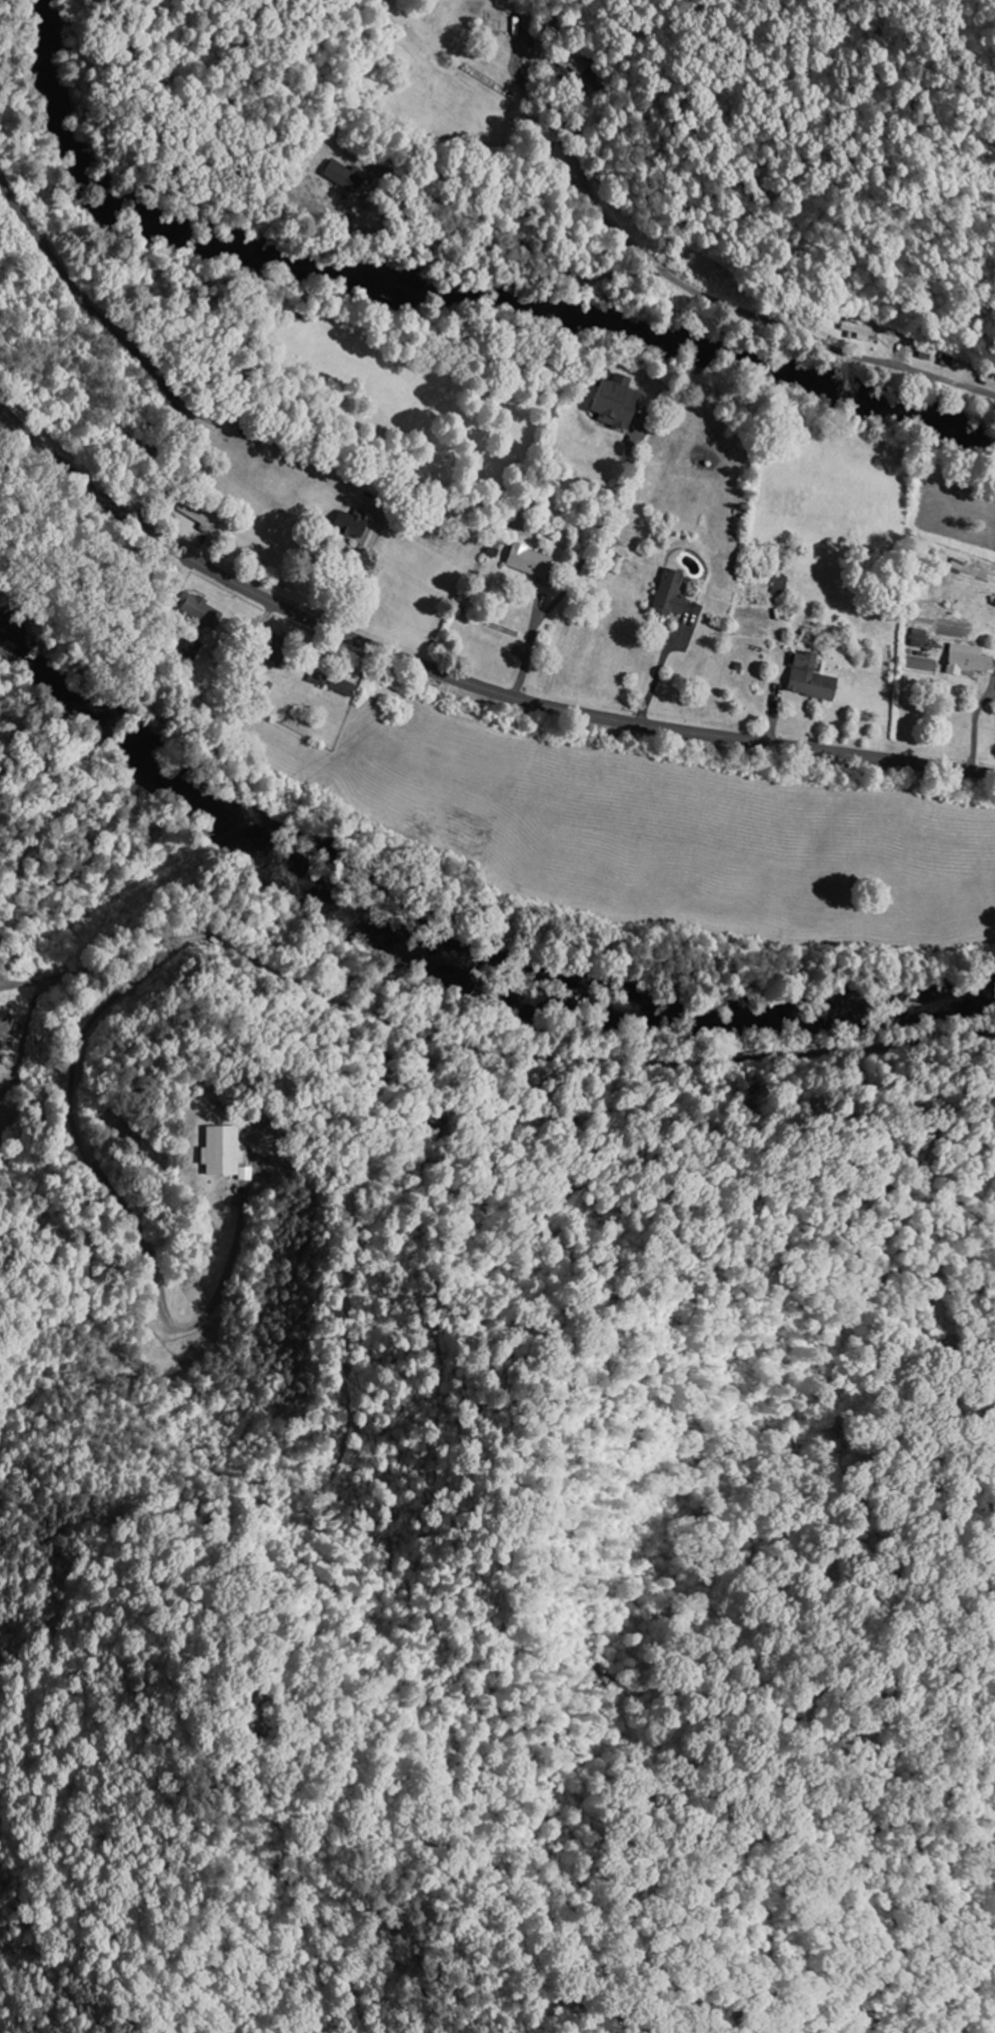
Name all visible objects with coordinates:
building: (575, 62)
building: (344, 176)
road: (577, 264)
road: (715, 297)
river: (446, 298)
building: (860, 330)
road: (125, 341)
building: (616, 402)
building: (242, 425)
building: (354, 527)
building: (530, 561)
building: (781, 584)
building: (670, 594)
building: (994, 603)
building: (202, 612)
building: (918, 638)
building: (967, 660)
building: (810, 678)
road: (461, 680)
building: (343, 687)
river: (447, 954)
building: (220, 1150)
building: (243, 1173)
road: (747, 1291)

